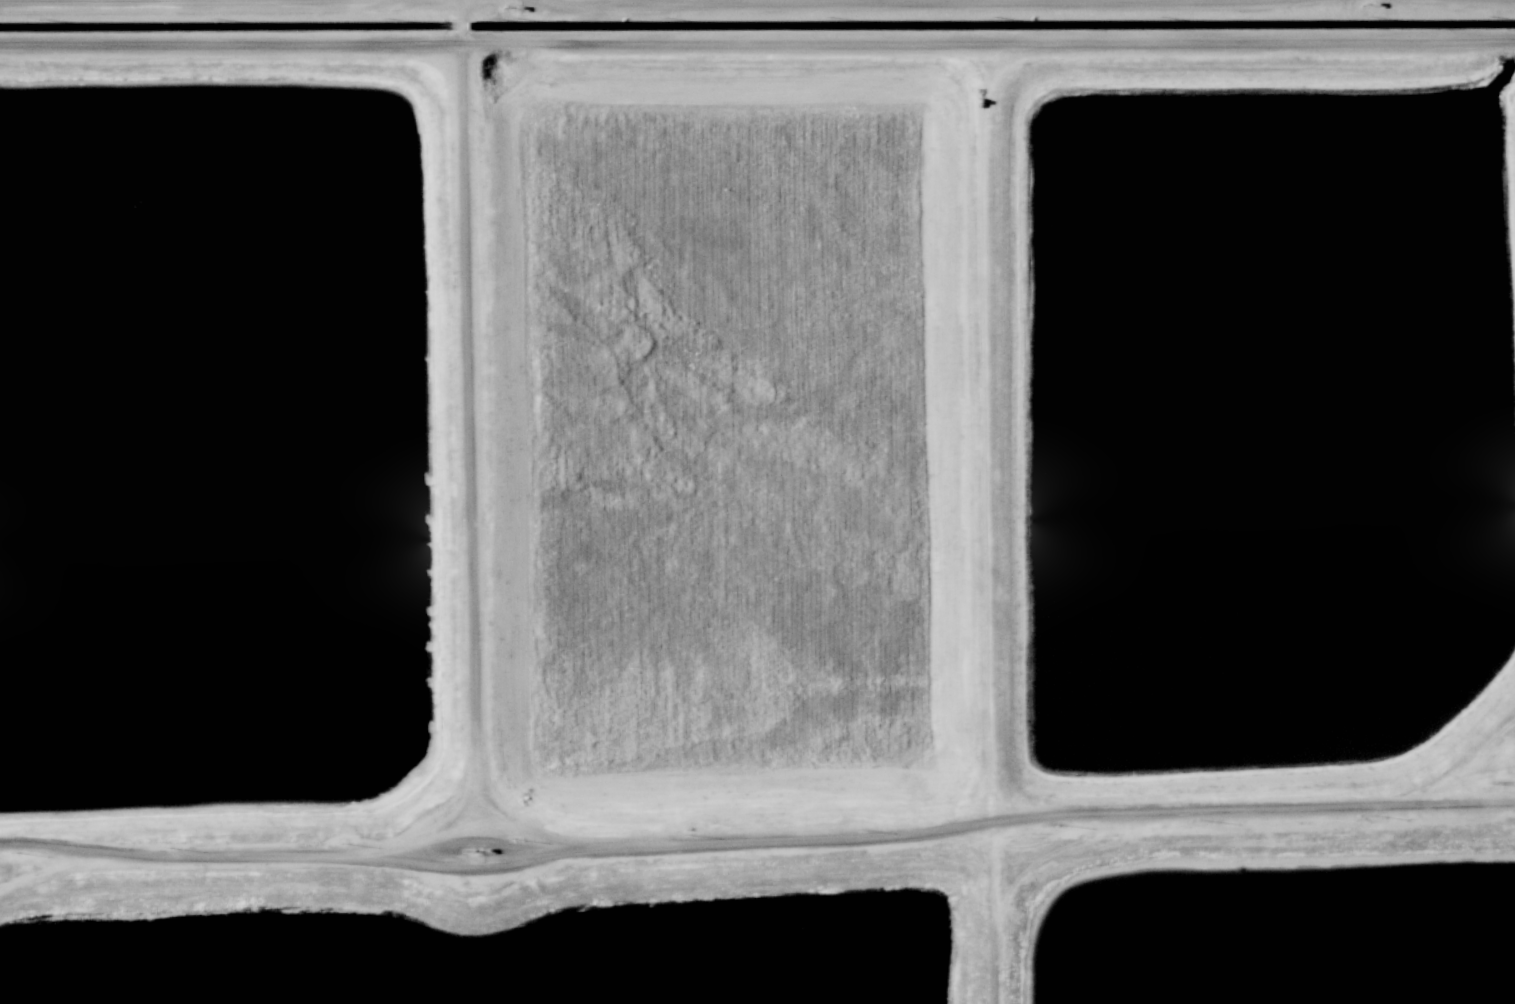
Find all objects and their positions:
road: (653, 1)
road: (162, 3)
road: (296, 41)
road: (1248, 42)
road: (983, 330)
wastewater plant: (1264, 414)
road: (468, 418)
wastewater plant: (724, 431)
wastewater plant: (216, 445)
wastewater plant: (757, 502)
road: (757, 838)
wastewater plant: (1280, 925)
wastewater plant: (495, 946)

